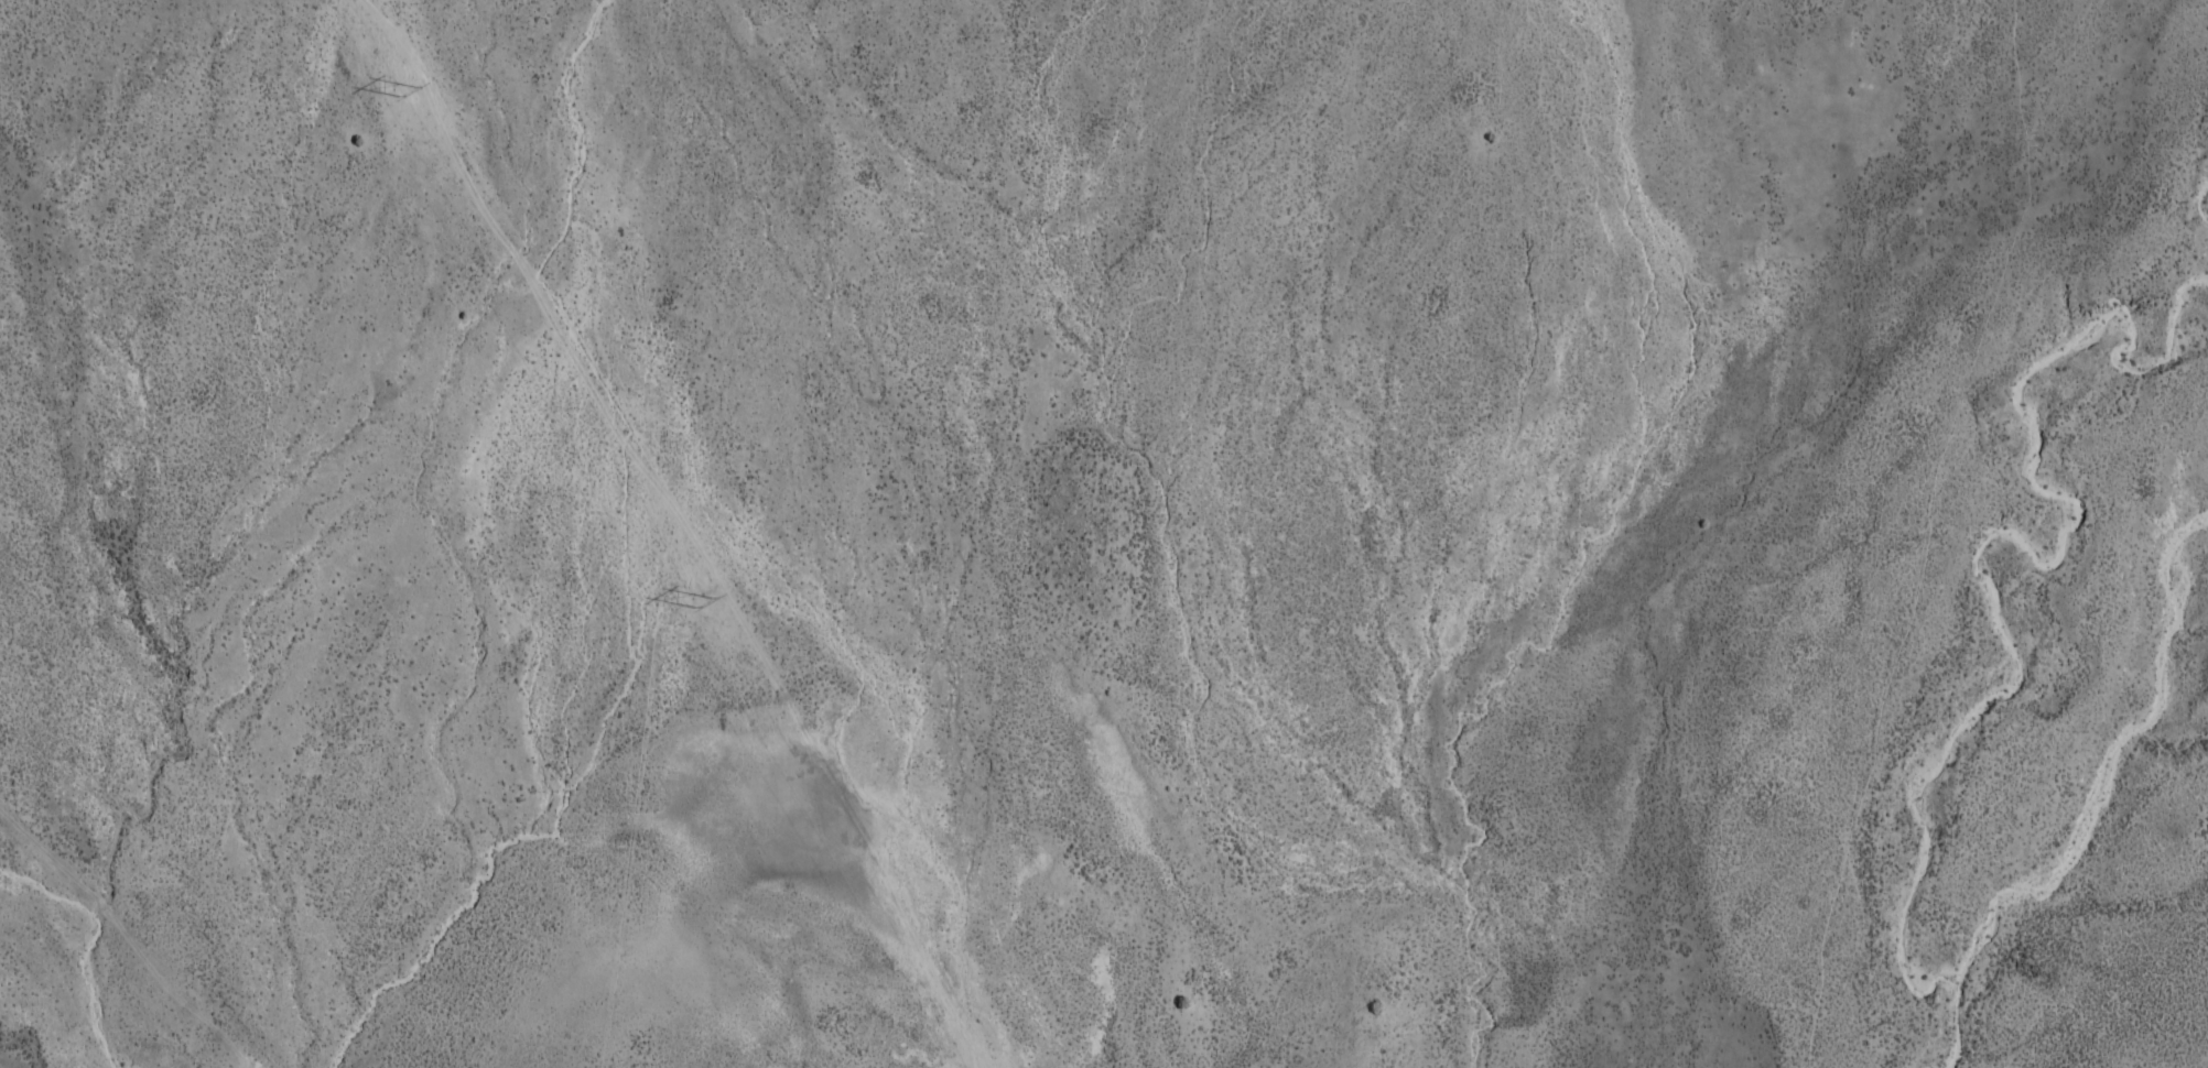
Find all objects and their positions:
power tower: (413, 86)
power tower: (704, 598)

